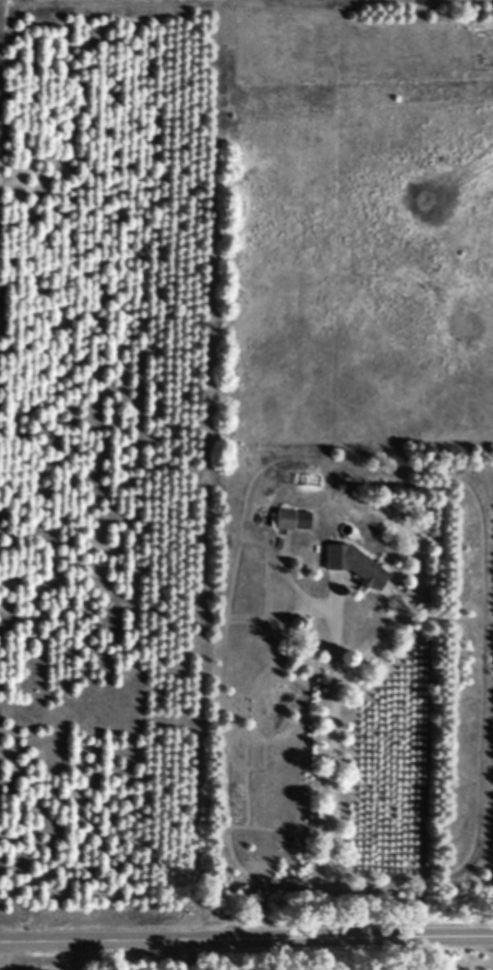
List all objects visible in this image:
building: (286, 520)
road: (327, 767)
road: (246, 949)

